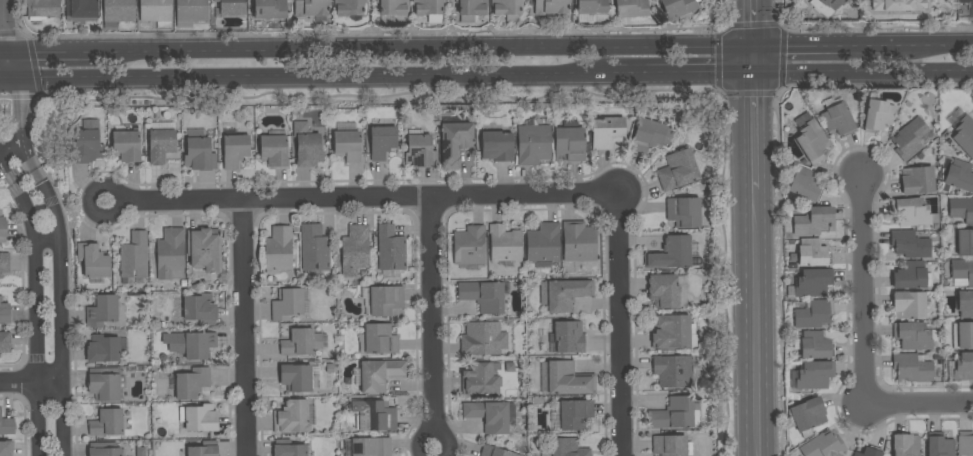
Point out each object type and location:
building: (898, 5)
building: (551, 6)
building: (826, 6)
building: (231, 7)
building: (311, 7)
building: (428, 7)
building: (507, 7)
building: (590, 7)
building: (631, 8)
building: (42, 9)
building: (271, 9)
building: (350, 9)
building: (392, 9)
building: (471, 9)
building: (678, 9)
building: (81, 11)
building: (118, 12)
building: (156, 12)
building: (191, 12)
road: (781, 12)
traffic signals: (752, 15)
road: (752, 23)
traffic signals: (2, 24)
road: (784, 25)
road: (878, 28)
road: (2, 41)
road: (936, 44)
road: (825, 45)
traffic signals: (793, 46)
road: (422, 47)
road: (1, 48)
traffic signals: (41, 48)
road: (47, 48)
road: (752, 60)
road: (37, 71)
road: (862, 73)
road: (681, 75)
traffic signals: (711, 75)
road: (306, 80)
road: (0, 84)
road: (0, 84)
traffic signals: (752, 97)
traffic signals: (23, 105)
building: (878, 115)
building: (838, 119)
road: (24, 120)
building: (607, 132)
road: (753, 132)
building: (650, 135)
building: (964, 135)
building: (909, 139)
building: (382, 141)
building: (570, 141)
building: (812, 141)
building: (455, 142)
building: (533, 144)
building: (161, 145)
building: (307, 145)
building: (347, 145)
building: (85, 146)
building: (127, 146)
building: (497, 146)
road: (13, 150)
building: (235, 150)
building: (274, 150)
building: (420, 152)
building: (200, 154)
road: (7, 168)
building: (678, 170)
building: (959, 175)
building: (917, 180)
building: (806, 184)
road: (367, 197)
road: (90, 204)
building: (962, 209)
building: (911, 211)
building: (684, 212)
building: (814, 221)
building: (3, 228)
building: (579, 241)
building: (965, 242)
road: (47, 243)
building: (544, 243)
building: (505, 244)
building: (910, 244)
building: (469, 246)
building: (313, 248)
building: (205, 249)
building: (279, 249)
building: (390, 249)
building: (355, 250)
building: (670, 253)
building: (813, 253)
building: (171, 254)
building: (134, 257)
building: (93, 260)
building: (4, 263)
building: (962, 272)
building: (912, 276)
building: (813, 283)
road: (864, 288)
building: (663, 291)
building: (564, 294)
building: (483, 295)
building: (385, 301)
building: (964, 302)
building: (287, 304)
building: (909, 305)
road: (64, 308)
building: (200, 309)
building: (4, 311)
building: (102, 311)
building: (813, 313)
road: (37, 315)
road: (431, 316)
road: (758, 322)
road: (618, 325)
road: (243, 328)
building: (674, 332)
building: (962, 335)
building: (914, 336)
building: (568, 337)
building: (380, 339)
building: (481, 339)
building: (5, 342)
building: (301, 342)
building: (195, 345)
building: (815, 346)
building: (103, 349)
building: (912, 367)
building: (963, 367)
building: (676, 371)
building: (379, 374)
building: (814, 375)
building: (298, 379)
building: (480, 379)
building: (568, 379)
building: (192, 383)
building: (105, 384)
road: (32, 385)
road: (919, 403)
building: (575, 414)
building: (673, 414)
building: (489, 415)
building: (377, 416)
building: (808, 416)
building: (292, 417)
building: (199, 418)
building: (107, 423)
building: (7, 425)
road: (433, 435)
building: (965, 444)
building: (906, 445)
building: (940, 445)
building: (672, 446)
building: (823, 446)
building: (371, 447)
building: (567, 447)
building: (288, 448)
building: (104, 449)
building: (6, 450)
building: (201, 450)
building: (140, 451)
building: (495, 452)
building: (870, 452)

